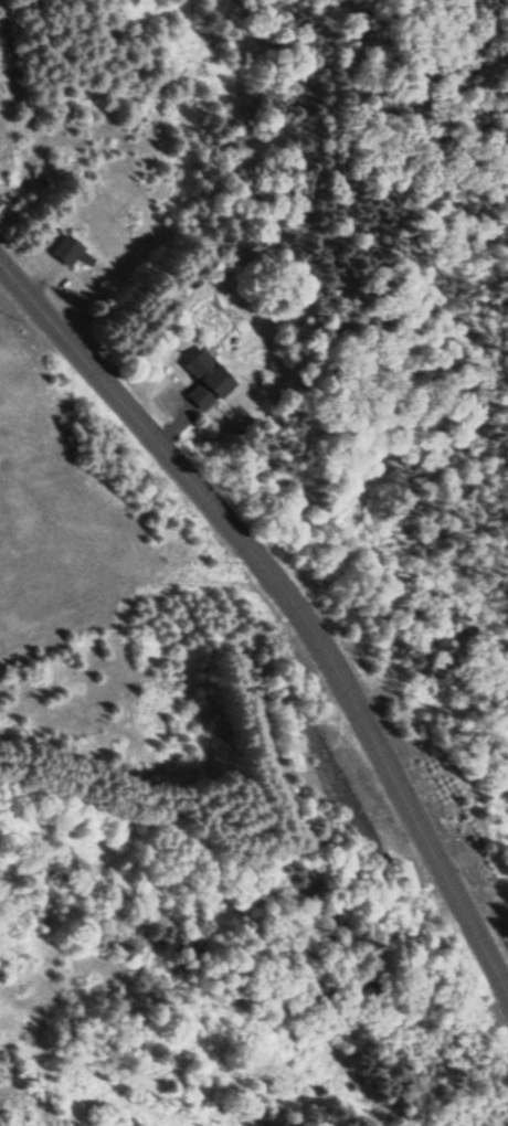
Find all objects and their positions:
building: (65, 249)
building: (205, 379)
road: (288, 587)

